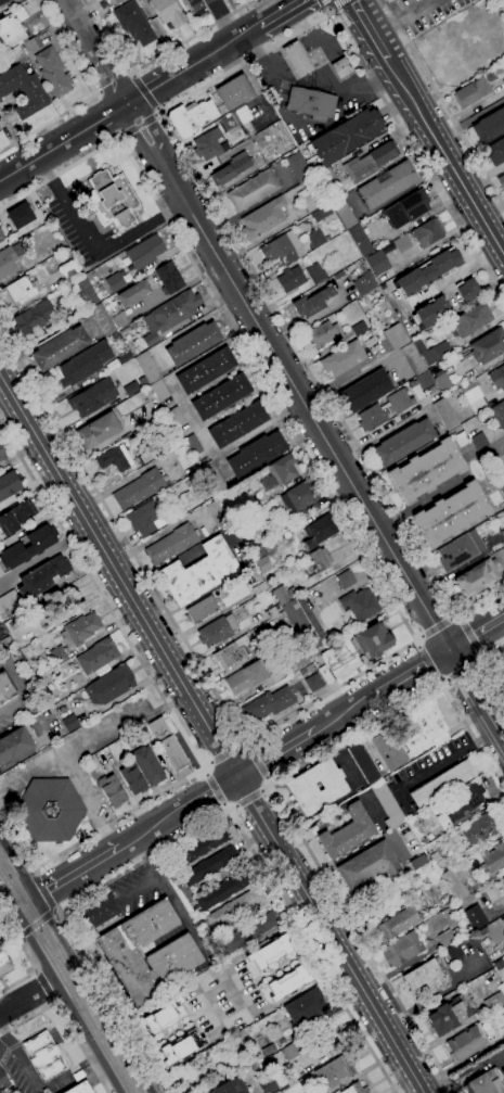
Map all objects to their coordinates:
building: (385, 0)
building: (386, 0)
building: (3, 1)
building: (118, 1)
road: (326, 4)
road: (335, 4)
road: (328, 11)
building: (168, 12)
road: (283, 13)
road: (403, 16)
road: (222, 21)
building: (134, 23)
building: (12, 27)
road: (371, 28)
road: (85, 36)
building: (33, 45)
road: (64, 48)
road: (219, 52)
building: (16, 55)
road: (158, 56)
building: (297, 59)
building: (341, 67)
building: (53, 73)
road: (133, 74)
building: (503, 81)
road: (115, 82)
road: (124, 84)
road: (158, 88)
building: (23, 91)
road: (109, 91)
road: (143, 92)
building: (234, 92)
building: (471, 92)
road: (442, 102)
building: (312, 104)
road: (128, 105)
road: (158, 111)
road: (158, 115)
building: (242, 116)
building: (191, 117)
road: (103, 119)
road: (49, 120)
road: (141, 125)
building: (489, 126)
road: (150, 127)
building: (271, 129)
road: (134, 136)
building: (347, 136)
road: (122, 137)
building: (209, 144)
building: (495, 152)
road: (44, 155)
road: (445, 155)
road: (185, 156)
building: (370, 162)
building: (298, 167)
building: (232, 168)
building: (327, 180)
building: (501, 181)
building: (387, 186)
building: (254, 190)
building: (309, 199)
building: (112, 200)
road: (67, 207)
building: (406, 208)
building: (344, 213)
building: (322, 214)
building: (21, 215)
building: (262, 218)
road: (140, 228)
building: (428, 232)
building: (1, 237)
building: (316, 239)
building: (360, 241)
building: (402, 243)
building: (283, 247)
building: (144, 252)
building: (9, 259)
building: (377, 263)
building: (353, 270)
building: (69, 271)
building: (428, 271)
building: (315, 272)
building: (337, 275)
building: (169, 278)
road: (451, 278)
building: (290, 279)
building: (115, 282)
building: (364, 283)
building: (467, 291)
building: (18, 292)
building: (85, 292)
building: (133, 293)
building: (312, 303)
building: (176, 309)
building: (432, 312)
building: (34, 318)
building: (471, 319)
building: (103, 320)
building: (120, 320)
building: (358, 328)
building: (322, 334)
building: (396, 336)
building: (151, 339)
building: (369, 342)
building: (193, 343)
building: (488, 345)
building: (59, 347)
building: (431, 351)
building: (344, 358)
building: (412, 359)
building: (83, 364)
building: (147, 367)
building: (205, 370)
building: (497, 378)
building: (423, 381)
building: (442, 381)
building: (141, 382)
building: (130, 387)
building: (159, 391)
building: (365, 391)
building: (221, 396)
building: (93, 397)
building: (474, 397)
road: (303, 402)
building: (399, 402)
building: (445, 414)
building: (496, 415)
building: (373, 416)
building: (176, 418)
road: (191, 418)
building: (237, 424)
building: (98, 431)
road: (108, 440)
building: (403, 442)
building: (479, 442)
building: (192, 445)
building: (256, 454)
building: (2, 455)
building: (183, 457)
building: (115, 458)
building: (283, 470)
building: (426, 471)
building: (212, 478)
building: (500, 482)
building: (9, 484)
building: (139, 488)
building: (299, 496)
building: (216, 512)
building: (452, 513)
building: (17, 516)
building: (144, 518)
building: (319, 532)
building: (503, 532)
building: (171, 544)
building: (28, 546)
building: (460, 550)
building: (260, 558)
building: (315, 562)
building: (0, 572)
building: (199, 572)
road: (118, 574)
building: (42, 576)
building: (478, 577)
building: (346, 579)
building: (257, 587)
building: (284, 595)
building: (8, 600)
building: (360, 605)
building: (54, 606)
building: (201, 609)
building: (271, 611)
road: (457, 615)
building: (305, 623)
road: (406, 624)
road: (436, 627)
building: (217, 631)
road: (476, 633)
road: (471, 636)
building: (75, 637)
road: (419, 638)
building: (373, 639)
road: (417, 644)
traffic signals: (450, 649)
building: (232, 653)
road: (483, 653)
building: (98, 656)
building: (340, 659)
road: (484, 659)
building: (300, 661)
road: (428, 662)
road: (491, 662)
road: (465, 670)
road: (412, 672)
building: (325, 675)
building: (247, 677)
road: (439, 679)
road: (445, 681)
road: (154, 683)
building: (314, 683)
building: (111, 685)
road: (23, 687)
building: (5, 689)
road: (476, 695)
road: (178, 699)
building: (269, 704)
road: (346, 711)
building: (70, 723)
building: (429, 735)
building: (168, 742)
building: (15, 744)
road: (81, 745)
road: (243, 747)
road: (248, 747)
road: (277, 752)
road: (224, 754)
road: (449, 760)
road: (258, 762)
building: (147, 765)
road: (208, 765)
road: (206, 771)
building: (132, 779)
road: (268, 780)
building: (376, 785)
building: (442, 785)
building: (300, 786)
road: (215, 788)
road: (266, 788)
building: (112, 790)
road: (81, 793)
road: (205, 795)
road: (248, 798)
road: (280, 800)
building: (462, 801)
road: (227, 806)
road: (233, 808)
building: (50, 810)
road: (262, 818)
building: (480, 828)
road: (193, 829)
road: (146, 830)
building: (347, 831)
road: (109, 839)
road: (14, 842)
building: (204, 844)
building: (493, 857)
building: (418, 862)
building: (210, 865)
road: (18, 866)
building: (369, 866)
road: (34, 872)
road: (78, 872)
building: (503, 876)
building: (503, 878)
building: (455, 880)
road: (140, 887)
parking lot: (135, 889)
building: (223, 890)
road: (43, 891)
road: (169, 893)
traffic signals: (37, 898)
road: (24, 904)
building: (234, 906)
road: (56, 911)
traffic signals: (13, 913)
building: (100, 913)
building: (475, 916)
road: (37, 922)
building: (502, 922)
building: (396, 924)
building: (248, 930)
road: (17, 935)
building: (445, 938)
building: (402, 949)
building: (454, 952)
building: (272, 953)
building: (175, 955)
road: (29, 957)
building: (3, 959)
road: (214, 965)
road: (37, 971)
railway: (69, 971)
road: (356, 976)
building: (426, 977)
railway: (65, 980)
building: (287, 983)
road: (46, 984)
road: (62, 991)
road: (233, 991)
road: (93, 994)
railway: (78, 995)
road: (28, 999)
road: (53, 1001)
road: (208, 1005)
building: (305, 1006)
building: (447, 1017)
building: (164, 1018)
road: (65, 1020)
building: (465, 1043)
building: (181, 1047)
building: (293, 1050)
building: (44, 1057)
road: (21, 1058)
building: (334, 1071)
road: (72, 1076)
building: (3, 1081)
building: (484, 1083)
building: (228, 1086)
building: (80, 1089)
building: (356, 1089)

